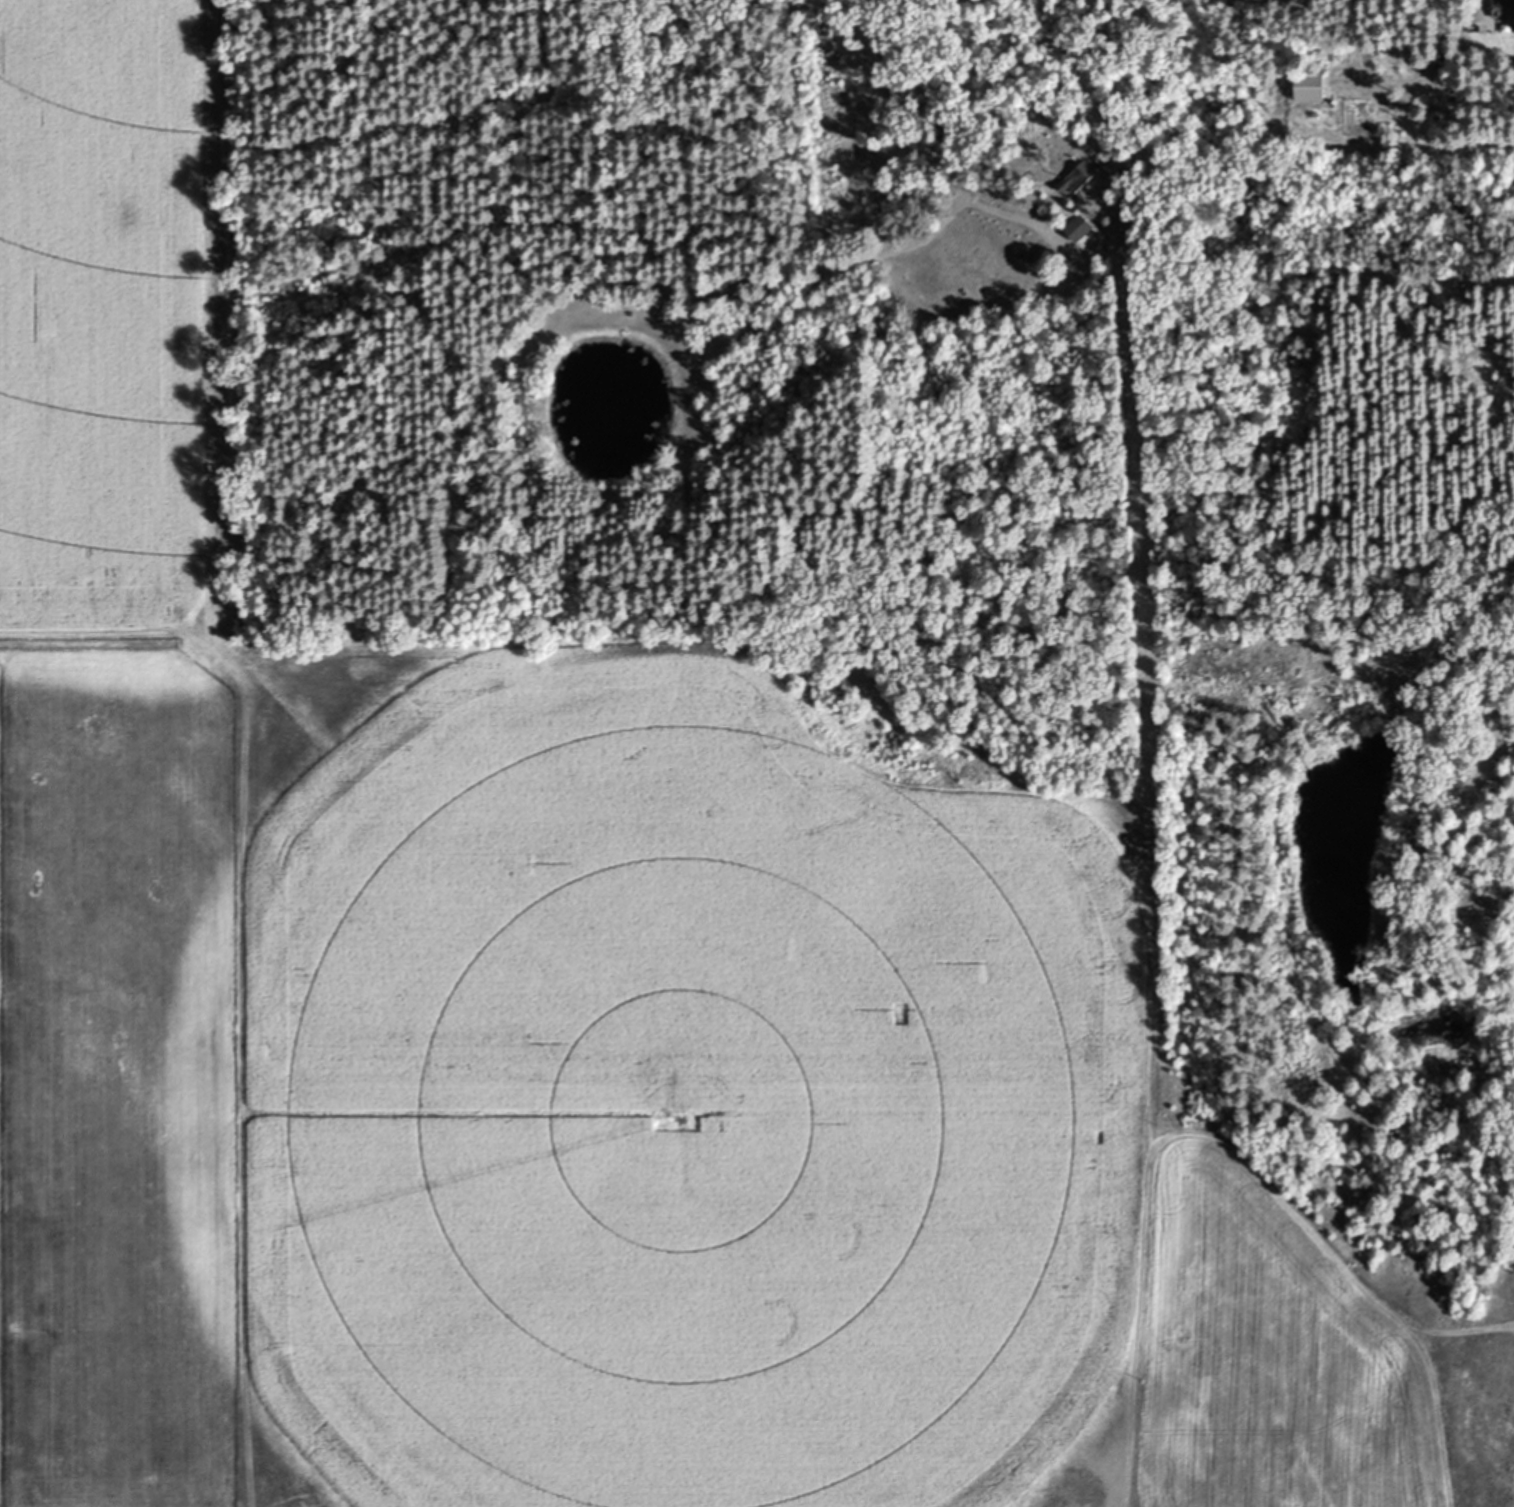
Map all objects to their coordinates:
building: (1503, 9)
road: (1387, 81)
building: (1306, 86)
building: (1073, 179)
building: (1074, 228)

